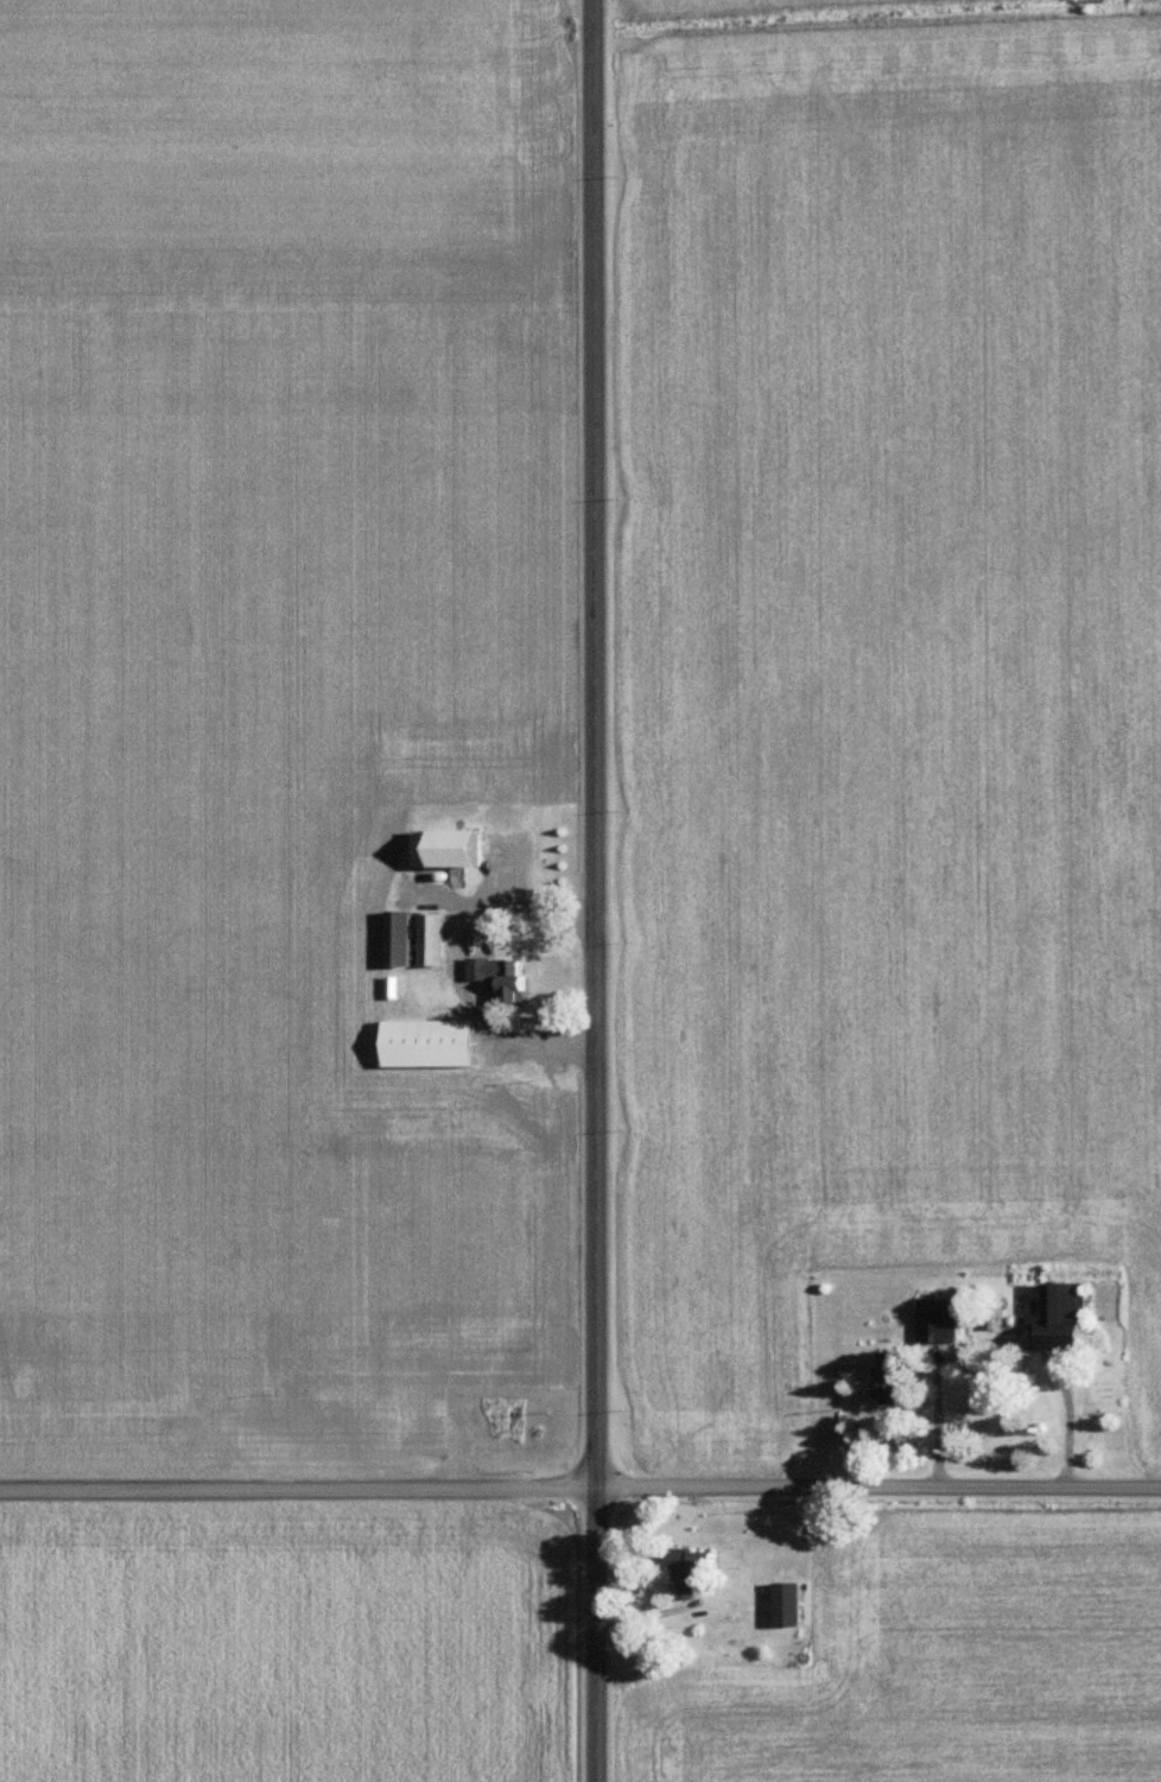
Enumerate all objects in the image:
building: (459, 846)
road: (596, 890)
building: (406, 938)
building: (437, 939)
road: (455, 960)
building: (507, 976)
building: (439, 1042)
building: (1073, 1317)
building: (939, 1320)
building: (897, 1376)
road: (1066, 1403)
road: (579, 1488)
building: (693, 1569)
building: (794, 1603)

